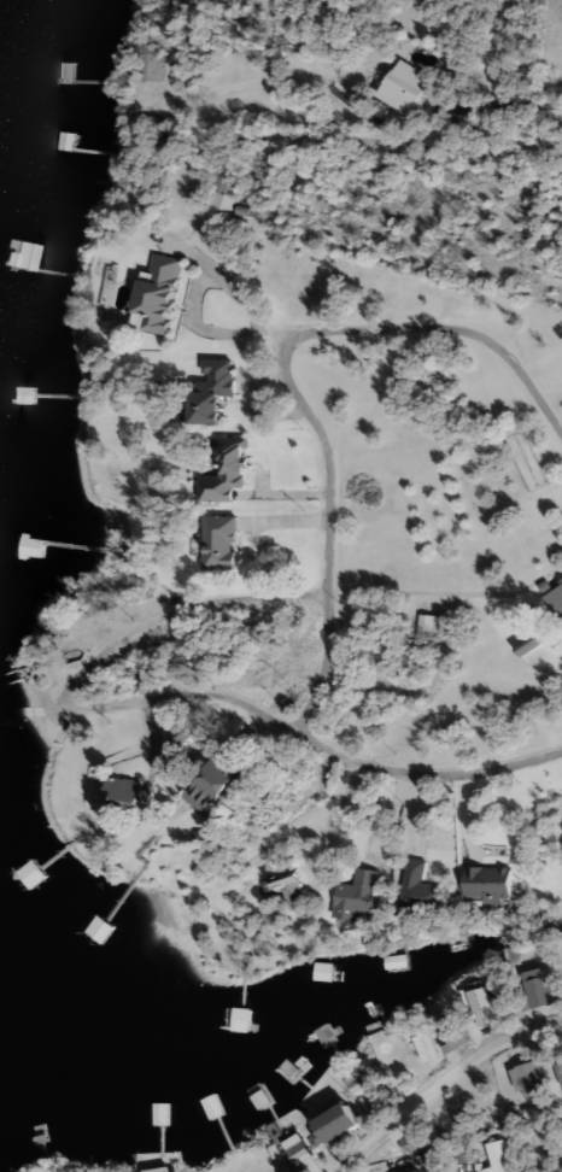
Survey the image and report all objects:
building: (68, 71)
road: (441, 111)
building: (169, 140)
road: (382, 142)
building: (246, 210)
building: (23, 253)
building: (159, 292)
road: (189, 309)
road: (285, 376)
building: (215, 391)
building: (25, 394)
building: (228, 470)
building: (222, 541)
building: (34, 547)
road: (446, 594)
building: (555, 598)
building: (433, 622)
building: (528, 643)
road: (166, 695)
building: (217, 781)
building: (133, 795)
building: (34, 871)
building: (488, 881)
building: (421, 887)
building: (287, 889)
building: (358, 892)
building: (394, 959)
building: (539, 985)
building: (485, 1004)
building: (251, 1016)
building: (459, 1036)
building: (429, 1042)
building: (560, 1067)
road: (445, 1077)
building: (532, 1078)
building: (359, 1080)
building: (345, 1120)
building: (466, 1124)
building: (414, 1142)
building: (303, 1149)
building: (466, 1154)
building: (499, 1156)
building: (394, 1165)
building: (444, 1168)
building: (164, 1170)

